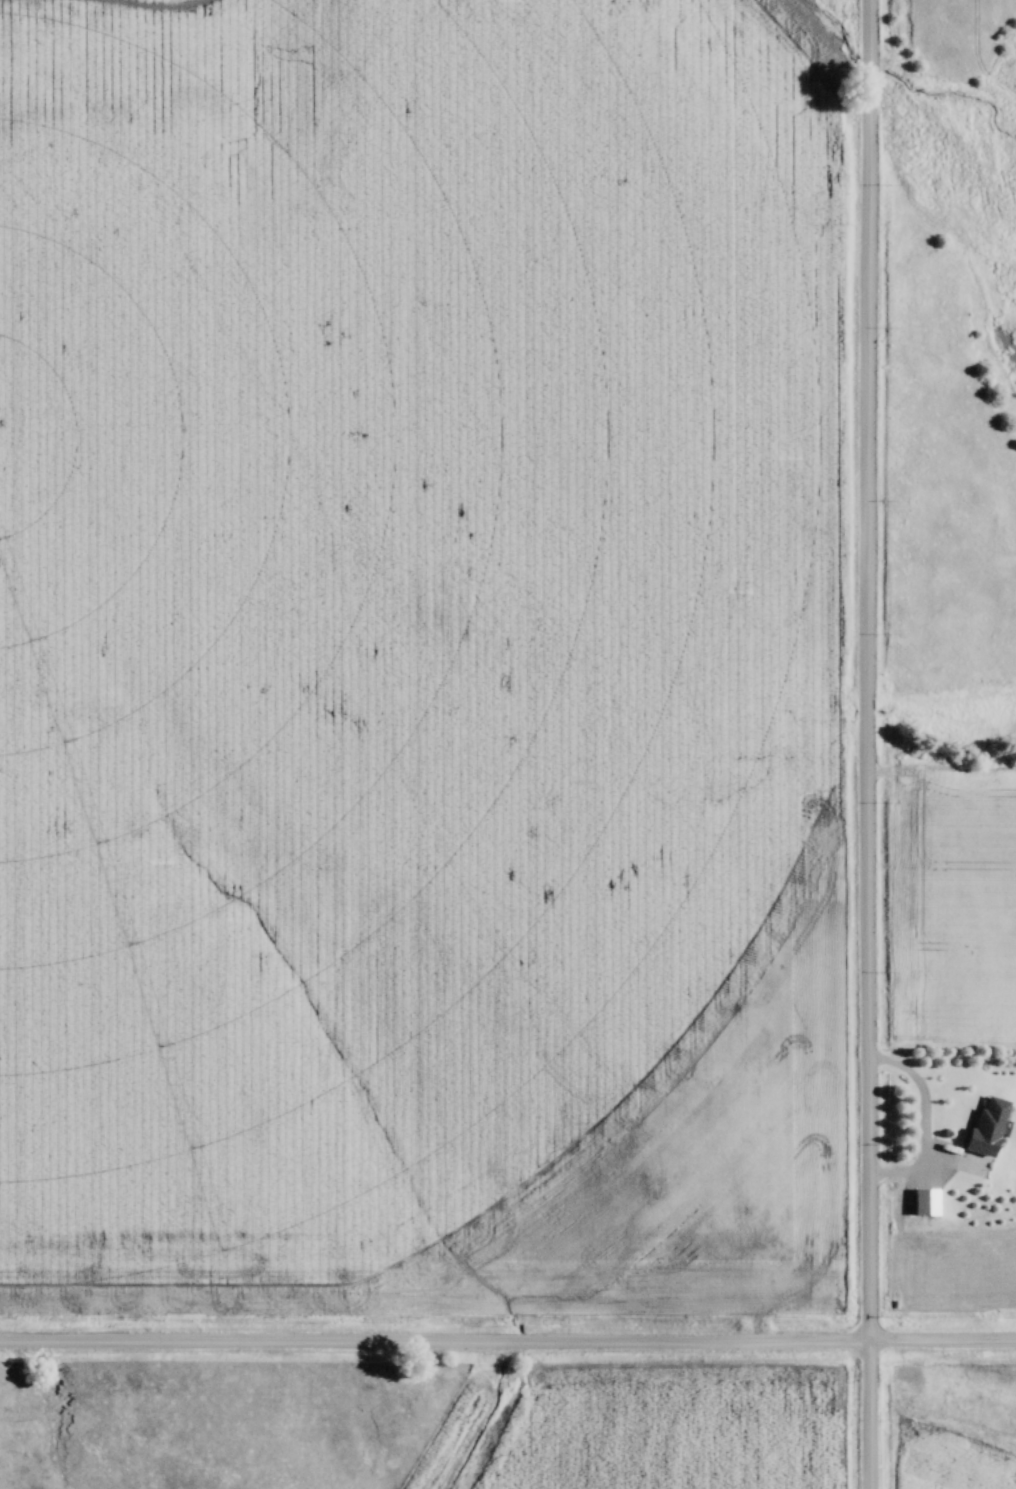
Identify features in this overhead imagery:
road: (869, 744)
building: (993, 1125)
road: (507, 1341)

